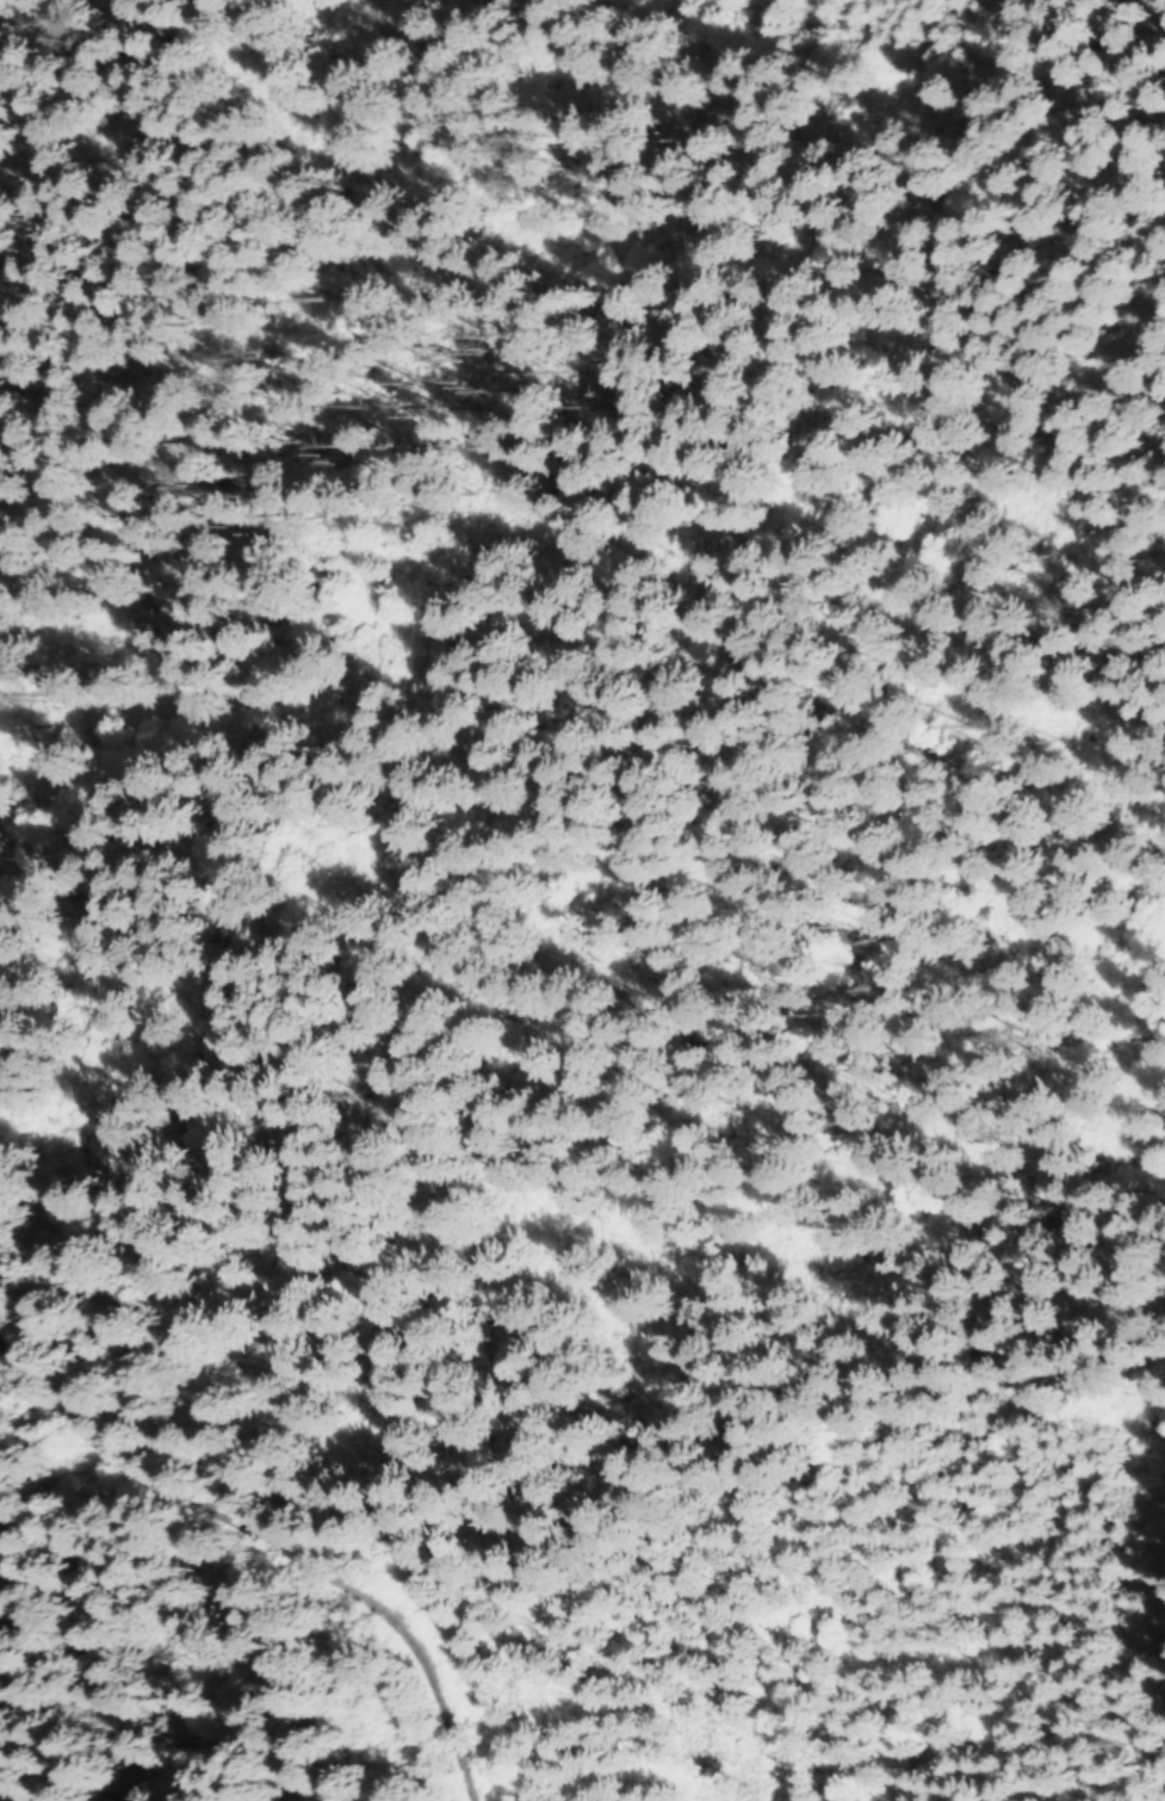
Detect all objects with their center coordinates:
road: (258, 1510)

